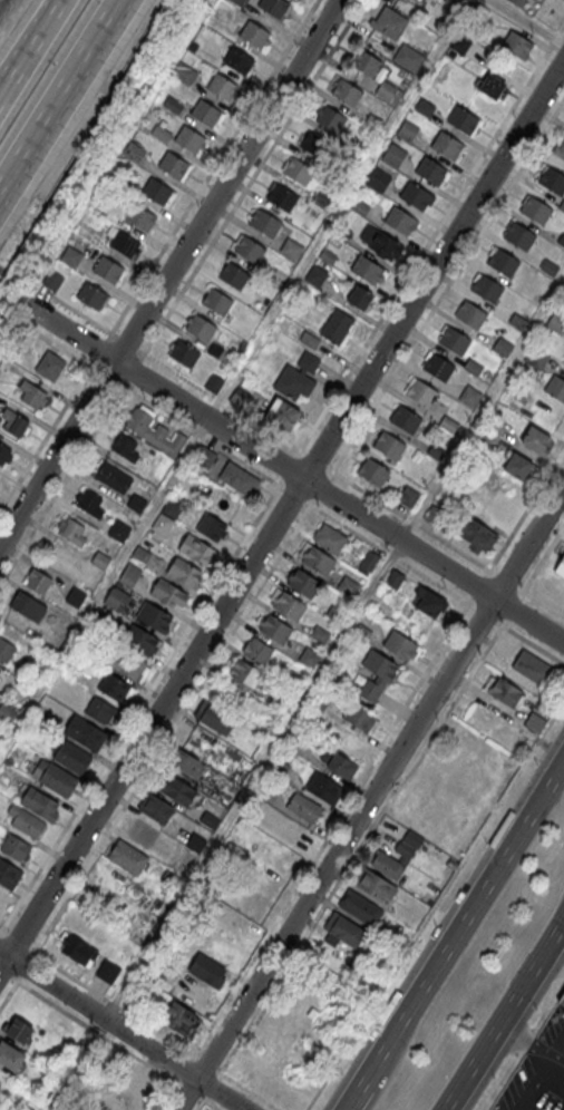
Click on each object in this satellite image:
building: (239, 1)
building: (409, 1)
building: (517, 2)
building: (450, 3)
building: (274, 6)
building: (478, 12)
road: (528, 21)
building: (389, 22)
road: (37, 31)
building: (254, 33)
building: (461, 42)
building: (517, 43)
building: (408, 57)
building: (239, 60)
building: (366, 61)
building: (187, 67)
road: (8, 76)
building: (492, 85)
building: (222, 86)
building: (386, 89)
building: (347, 93)
road: (62, 99)
building: (172, 105)
building: (424, 106)
building: (206, 113)
building: (329, 118)
building: (463, 118)
building: (373, 120)
building: (407, 129)
building: (159, 133)
building: (188, 138)
building: (315, 145)
building: (447, 145)
building: (561, 149)
building: (134, 150)
building: (393, 155)
building: (173, 165)
building: (298, 171)
building: (430, 171)
road: (252, 176)
building: (377, 178)
building: (552, 178)
building: (157, 191)
building: (415, 194)
building: (283, 197)
building: (323, 198)
building: (562, 205)
building: (359, 206)
building: (535, 210)
building: (142, 217)
building: (400, 220)
building: (265, 222)
building: (342, 233)
building: (519, 235)
road: (430, 236)
building: (561, 238)
building: (380, 242)
building: (125, 243)
building: (291, 247)
building: (250, 249)
building: (70, 255)
road: (157, 255)
building: (327, 255)
building: (503, 262)
building: (550, 266)
building: (108, 267)
building: (367, 269)
road: (168, 272)
building: (233, 274)
building: (315, 275)
building: (51, 279)
building: (487, 288)
building: (93, 295)
building: (359, 296)
building: (217, 300)
building: (259, 300)
building: (471, 314)
road: (427, 318)
road: (90, 319)
building: (517, 320)
building: (556, 322)
building: (336, 324)
building: (200, 327)
building: (309, 339)
building: (454, 340)
building: (503, 345)
building: (184, 354)
building: (226, 356)
building: (536, 357)
building: (308, 361)
building: (4, 363)
building: (437, 366)
building: (473, 366)
building: (293, 381)
building: (214, 382)
building: (555, 387)
building: (420, 392)
building: (33, 395)
building: (469, 395)
building: (239, 396)
road: (221, 401)
building: (283, 413)
building: (405, 418)
building: (493, 420)
building: (17, 423)
building: (448, 423)
building: (154, 430)
building: (483, 435)
building: (534, 438)
building: (124, 444)
building: (389, 445)
building: (436, 451)
building: (4, 454)
building: (204, 457)
building: (517, 464)
road: (71, 467)
building: (372, 470)
road: (292, 473)
building: (114, 476)
building: (239, 478)
building: (407, 495)
building: (89, 500)
building: (137, 502)
building: (172, 508)
road: (282, 513)
road: (327, 514)
building: (434, 514)
building: (162, 523)
road: (516, 526)
building: (212, 527)
building: (72, 529)
building: (119, 529)
road: (431, 533)
building: (477, 533)
building: (328, 538)
building: (200, 552)
building: (140, 553)
building: (100, 558)
building: (314, 559)
building: (368, 562)
building: (560, 566)
building: (185, 573)
building: (129, 574)
building: (393, 578)
building: (38, 580)
road: (372, 583)
building: (301, 584)
building: (347, 585)
road: (104, 587)
building: (169, 594)
building: (76, 596)
building: (117, 598)
building: (428, 603)
building: (27, 605)
building: (286, 606)
building: (336, 613)
building: (154, 617)
building: (272, 627)
building: (361, 631)
building: (319, 634)
building: (139, 639)
building: (399, 644)
building: (6, 650)
building: (256, 650)
building: (308, 658)
building: (128, 665)
building: (531, 665)
building: (376, 672)
building: (242, 674)
building: (292, 680)
building: (114, 685)
road: (148, 691)
building: (504, 691)
building: (319, 700)
building: (100, 709)
building: (6, 712)
building: (359, 714)
building: (214, 715)
building: (534, 721)
building: (86, 732)
building: (198, 744)
building: (293, 744)
building: (72, 756)
road: (153, 758)
road: (372, 760)
building: (186, 762)
building: (338, 765)
building: (279, 768)
building: (57, 777)
building: (323, 787)
building: (176, 789)
building: (265, 790)
road: (370, 797)
building: (39, 802)
building: (303, 806)
building: (157, 808)
building: (208, 818)
building: (28, 822)
building: (143, 830)
building: (196, 841)
building: (16, 848)
building: (127, 857)
building: (391, 860)
building: (9, 873)
building: (169, 877)
building: (373, 883)
road: (435, 905)
building: (358, 906)
road: (464, 916)
building: (236, 923)
building: (343, 928)
road: (17, 941)
building: (79, 950)
building: (108, 970)
building: (205, 970)
road: (13, 985)
building: (196, 995)
building: (562, 999)
road: (505, 1016)
building: (181, 1019)
road: (123, 1029)
building: (19, 1030)
road: (523, 1045)
building: (10, 1055)
road: (396, 1059)
building: (142, 1078)
road: (354, 1094)
building: (128, 1100)

